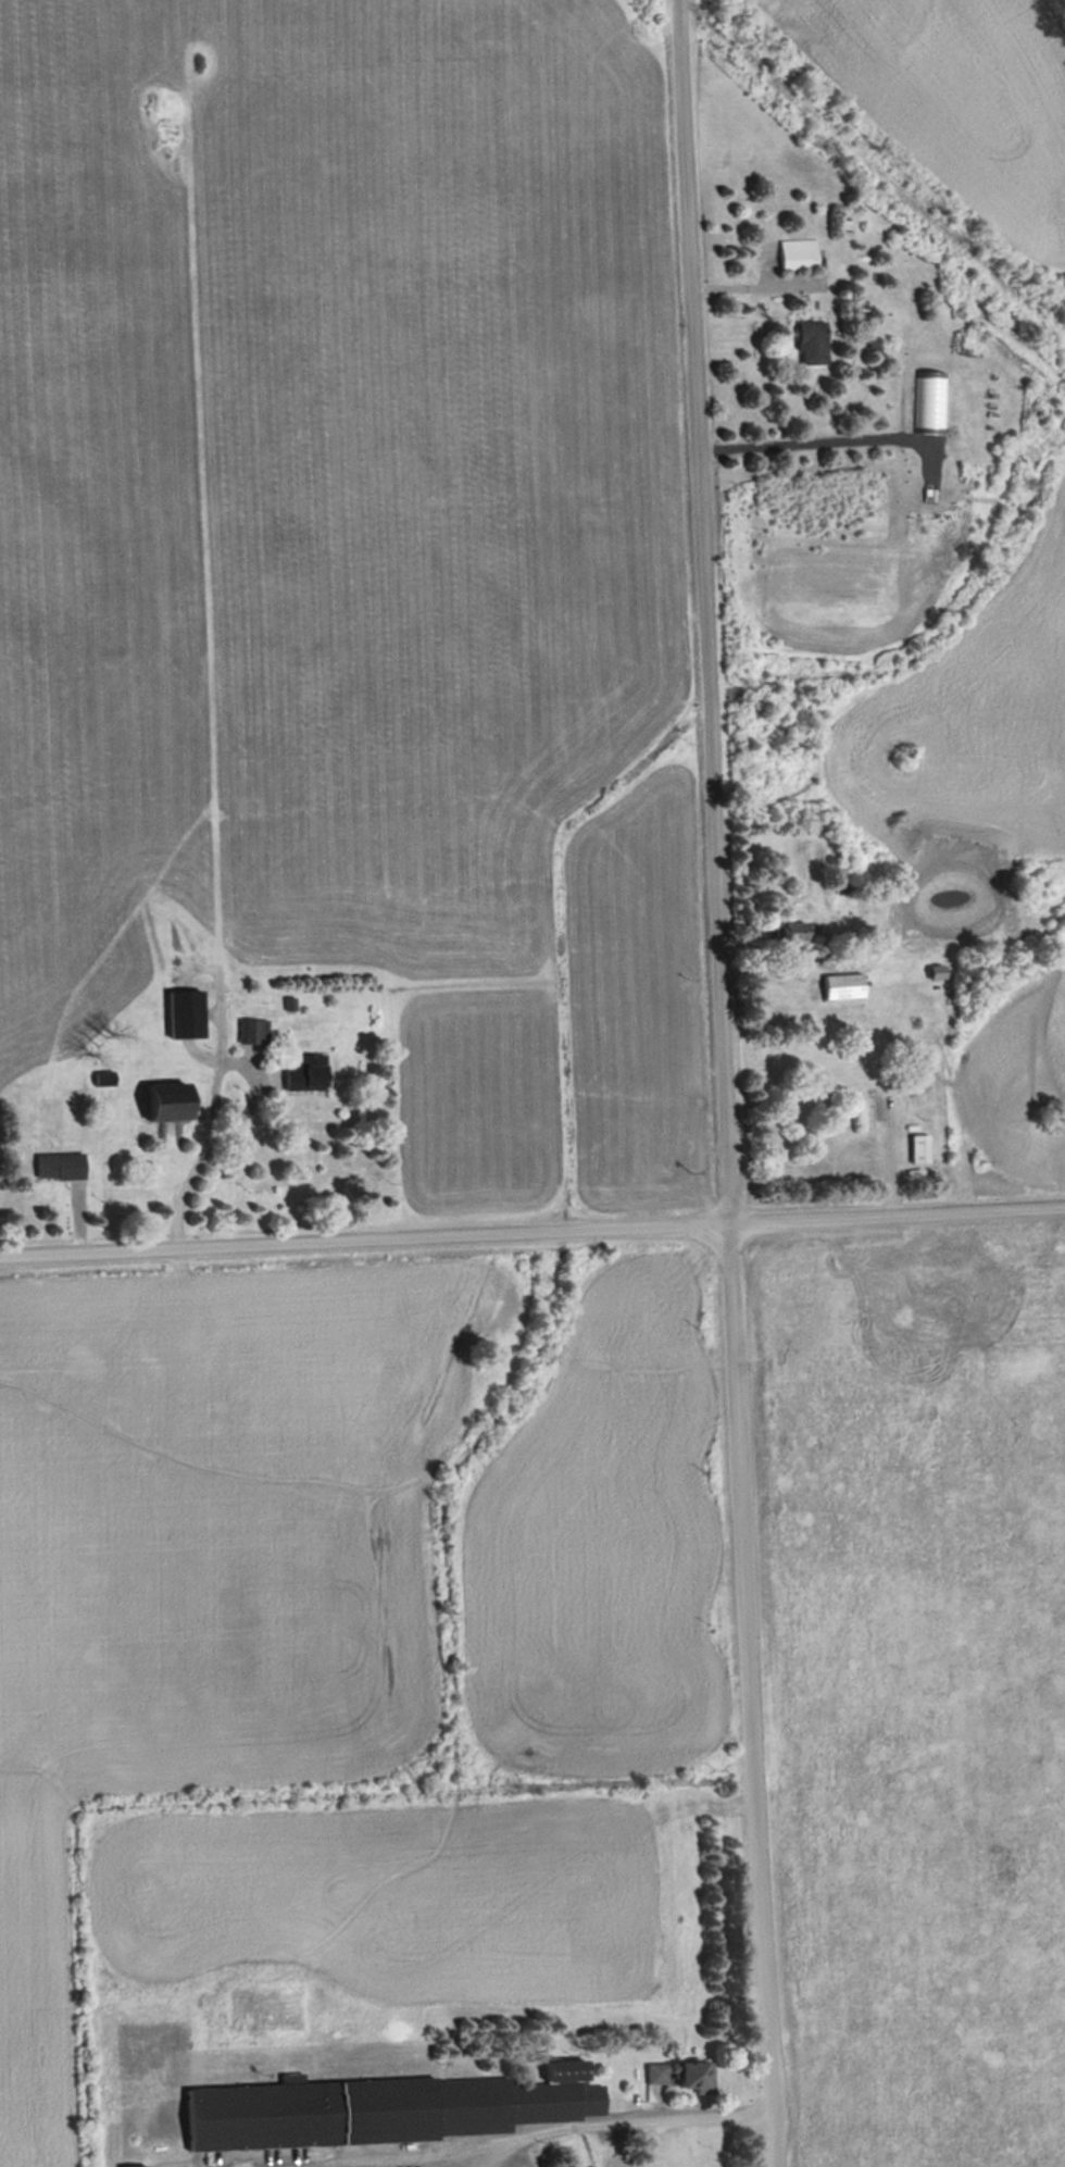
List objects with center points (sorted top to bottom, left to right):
railway: (872, 173)
building: (799, 253)
building: (814, 344)
building: (974, 899)
building: (793, 932)
building: (844, 985)
building: (186, 1012)
building: (254, 1030)
building: (309, 1072)
road: (718, 1083)
building: (172, 1100)
building: (920, 1149)
building: (60, 1166)
road: (531, 1231)
building: (1047, 1292)
building: (681, 2075)
building: (387, 2109)
road: (612, 2119)

